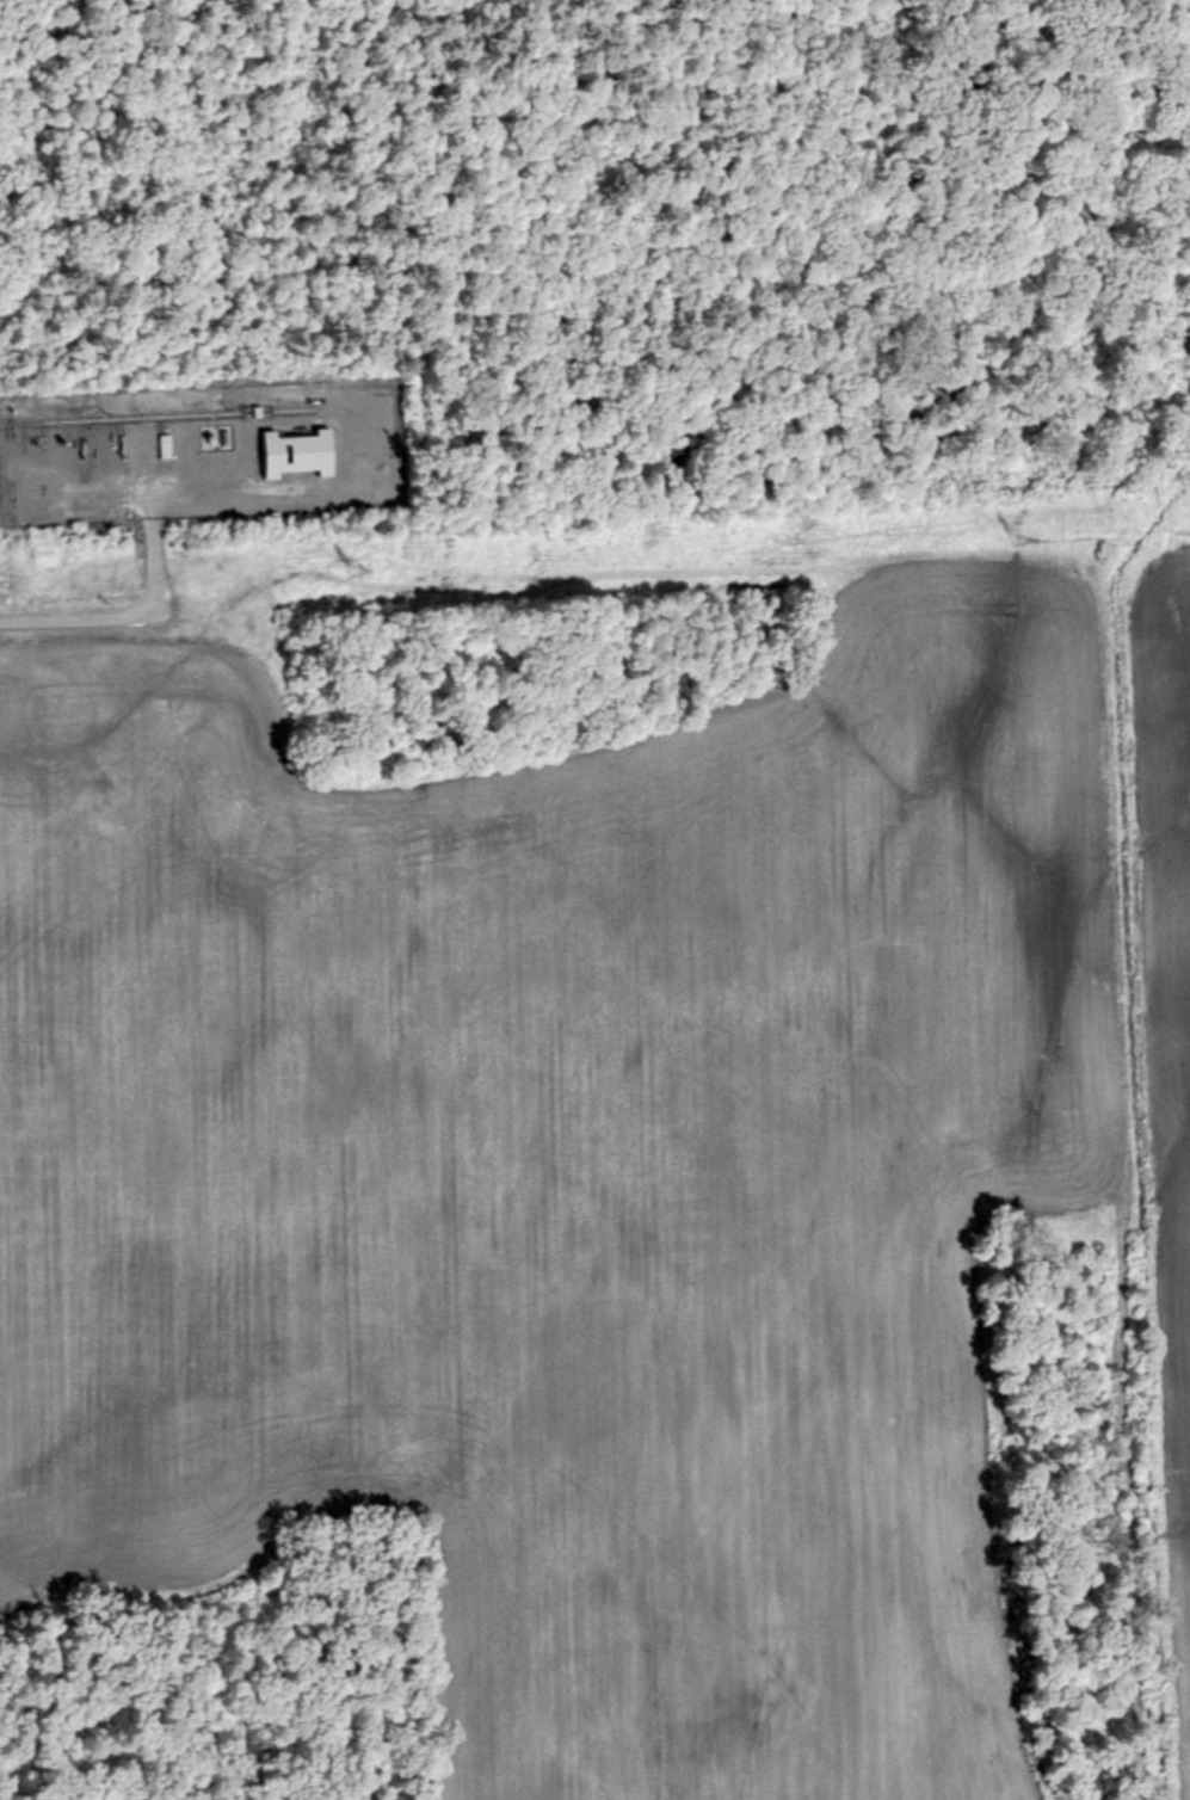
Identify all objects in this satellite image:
building: (166, 446)
building: (298, 454)
power tower: (1026, 540)
power tower: (358, 571)
road: (141, 608)

